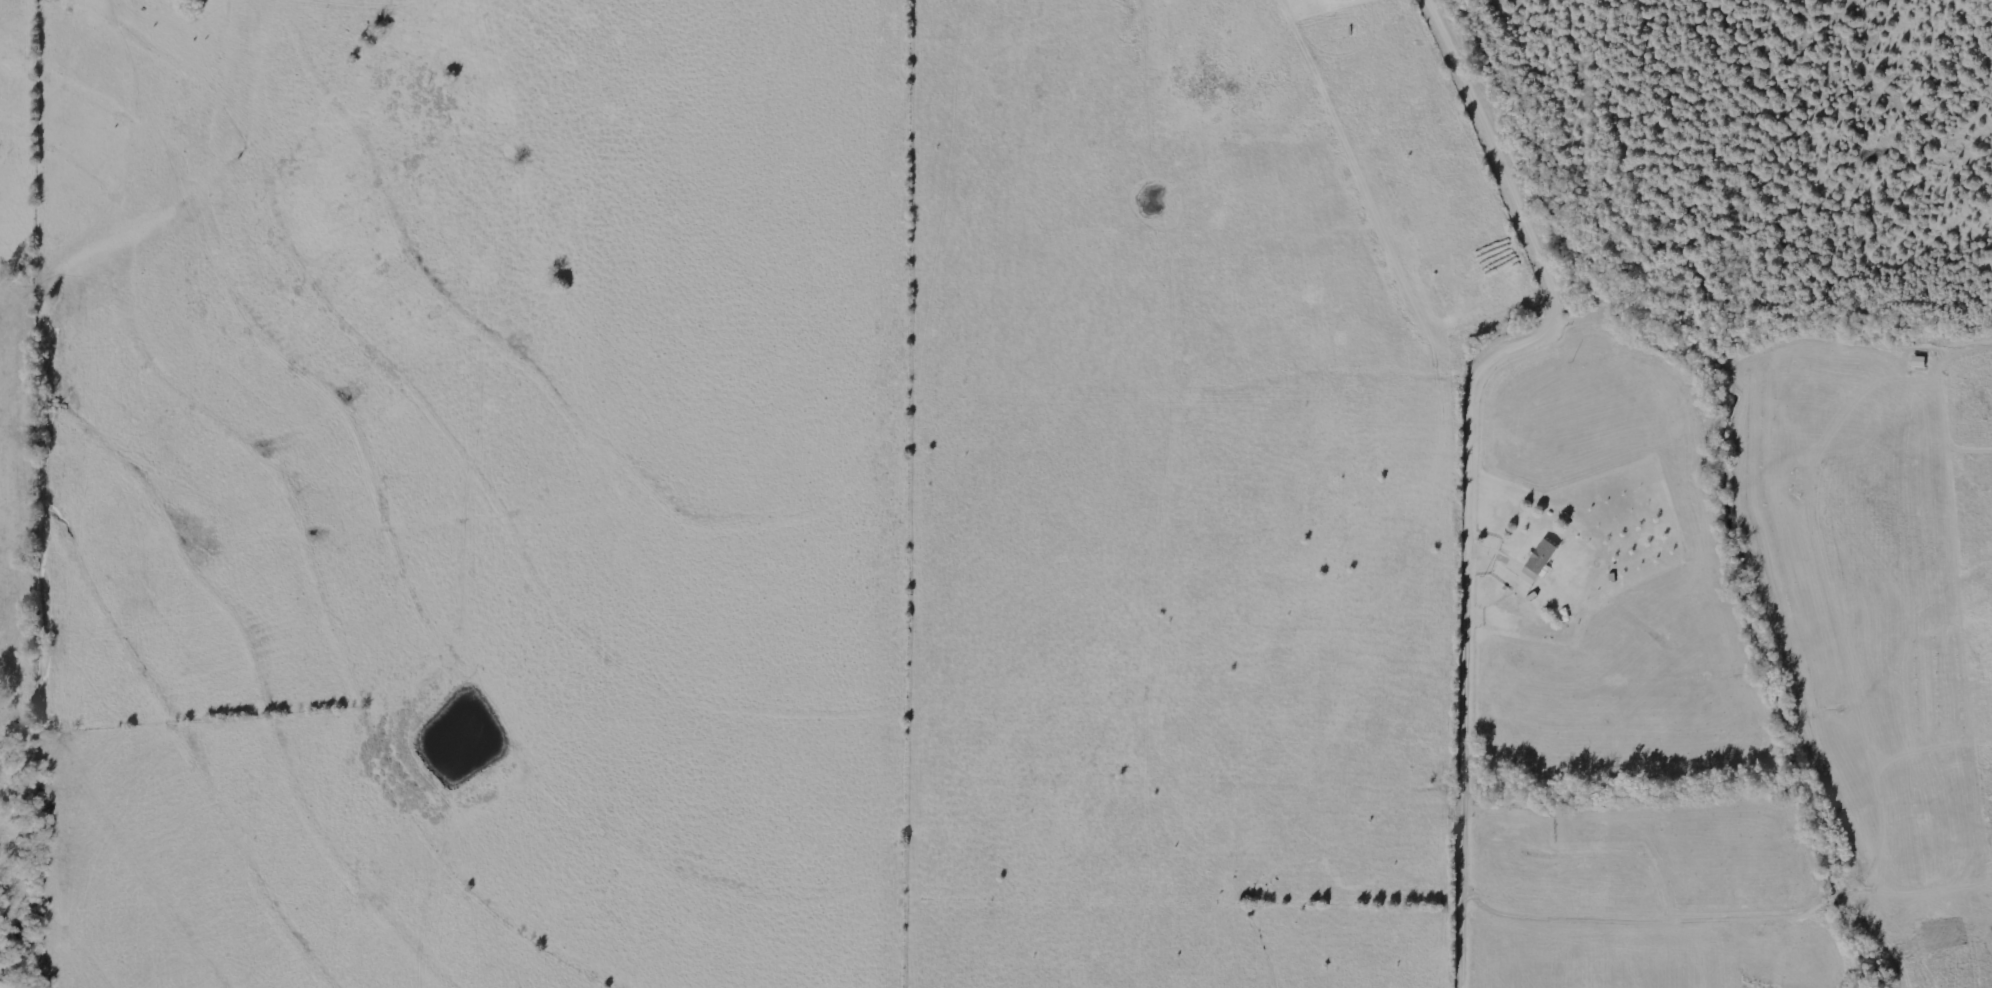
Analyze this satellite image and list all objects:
road: (1481, 461)
building: (1539, 562)

